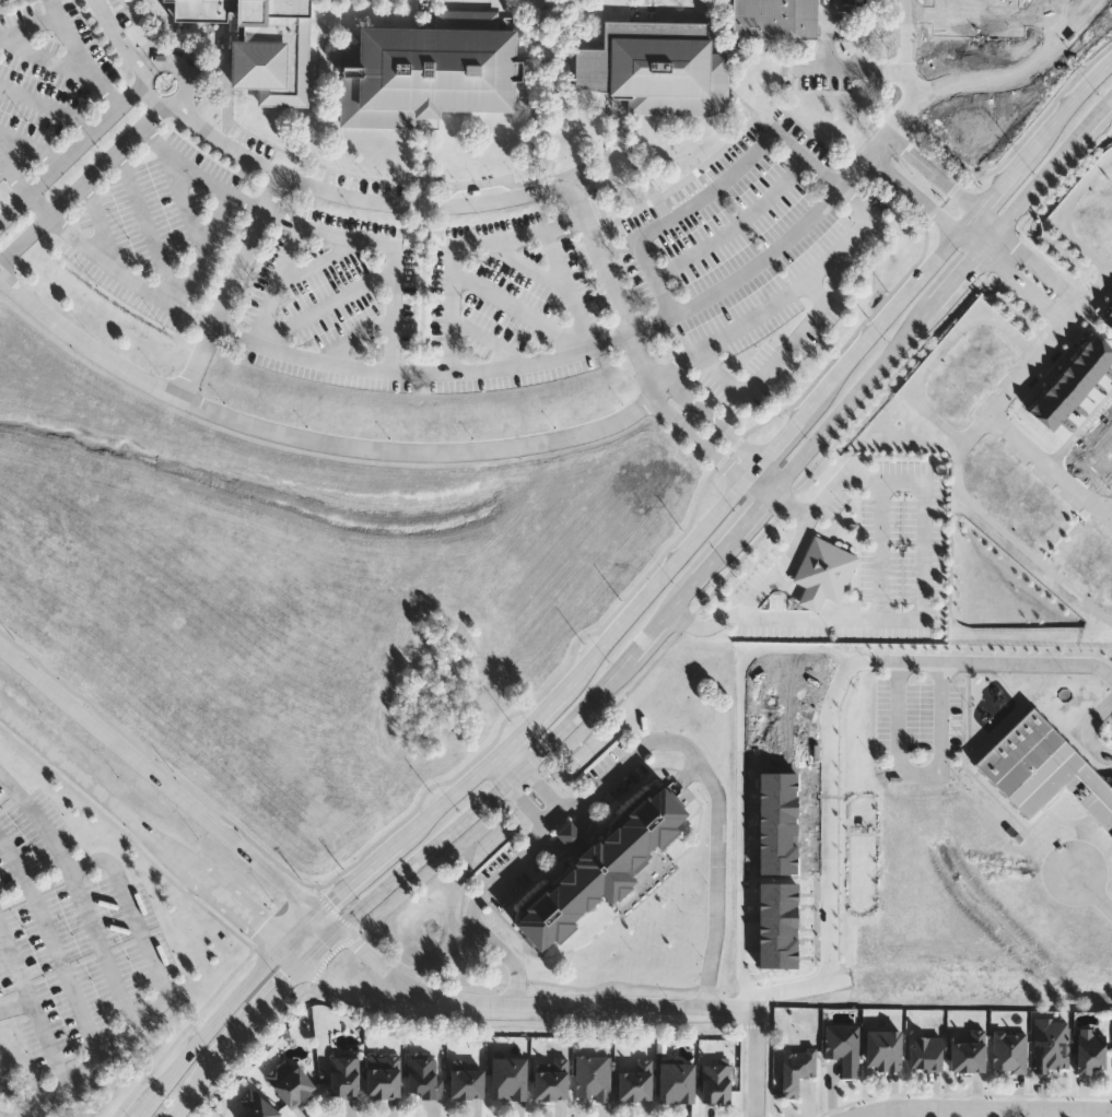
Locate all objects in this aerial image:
road: (57, 8)
road: (643, 12)
road: (430, 14)
road: (980, 14)
road: (140, 19)
building: (773, 20)
road: (319, 21)
road: (1044, 26)
road: (71, 34)
road: (121, 36)
road: (155, 37)
building: (261, 46)
road: (524, 51)
road: (52, 57)
road: (151, 66)
road: (854, 69)
building: (657, 71)
building: (429, 73)
road: (1018, 73)
road: (314, 82)
parking lot: (47, 83)
road: (318, 91)
road: (49, 105)
road: (1092, 120)
road: (534, 124)
road: (33, 148)
road: (71, 155)
road: (429, 162)
road: (634, 164)
road: (592, 165)
road: (934, 172)
road: (83, 186)
road: (915, 192)
road: (712, 193)
road: (1026, 196)
road: (475, 200)
road: (224, 201)
road: (184, 203)
road: (247, 203)
road: (822, 204)
road: (1062, 215)
road: (282, 220)
road: (102, 221)
road: (988, 221)
road: (736, 224)
road: (147, 230)
parking lot: (156, 230)
road: (347, 237)
road: (969, 242)
road: (464, 254)
parking lot: (753, 258)
road: (320, 261)
road: (532, 266)
road: (956, 275)
road: (233, 286)
road: (570, 290)
road: (784, 299)
road: (328, 303)
parking lot: (335, 305)
building: (1111, 305)
road: (518, 306)
parking lot: (512, 308)
road: (1076, 315)
building: (1107, 317)
road: (354, 338)
road: (491, 341)
road: (1051, 344)
road: (943, 350)
road: (283, 352)
building: (1098, 352)
road: (775, 360)
building: (1088, 364)
building: (1077, 377)
building: (1066, 390)
road: (852, 396)
building: (1055, 403)
building: (1044, 416)
road: (714, 421)
building: (1109, 430)
road: (1081, 432)
road: (315, 439)
road: (699, 440)
building: (1104, 444)
building: (1098, 459)
road: (1051, 467)
road: (766, 475)
road: (924, 482)
road: (759, 486)
road: (791, 504)
road: (754, 514)
road: (1111, 518)
road: (1002, 527)
road: (716, 557)
road: (786, 560)
building: (824, 572)
road: (683, 592)
road: (810, 598)
road: (639, 601)
road: (809, 619)
road: (651, 632)
road: (599, 637)
road: (995, 665)
building: (1079, 703)
building: (775, 714)
parking lot: (915, 719)
road: (1081, 731)
road: (627, 759)
building: (1044, 769)
road: (744, 774)
road: (916, 775)
road: (528, 777)
road: (171, 784)
road: (508, 793)
road: (469, 814)
building: (773, 824)
road: (151, 837)
road: (567, 838)
road: (834, 856)
road: (1053, 856)
building: (601, 865)
road: (78, 895)
road: (127, 904)
road: (1102, 905)
building: (773, 926)
road: (51, 949)
road: (390, 971)
road: (370, 1003)
road: (13, 1009)
road: (30, 1009)
road: (602, 1009)
road: (237, 1038)
building: (844, 1046)
building: (1052, 1046)
building: (885, 1050)
building: (1010, 1051)
building: (927, 1054)
building: (1092, 1054)
road: (101, 1055)
building: (969, 1055)
road: (757, 1066)
building: (797, 1069)
building: (346, 1075)
building: (424, 1077)
building: (385, 1078)
building: (510, 1078)
building: (594, 1079)
building: (551, 1081)
building: (468, 1083)
building: (636, 1083)
building: (678, 1083)
building: (717, 1083)
building: (292, 1084)
building: (261, 1107)
road: (986, 1109)
road: (913, 1113)
road: (915, 1113)
road: (1105, 1115)

